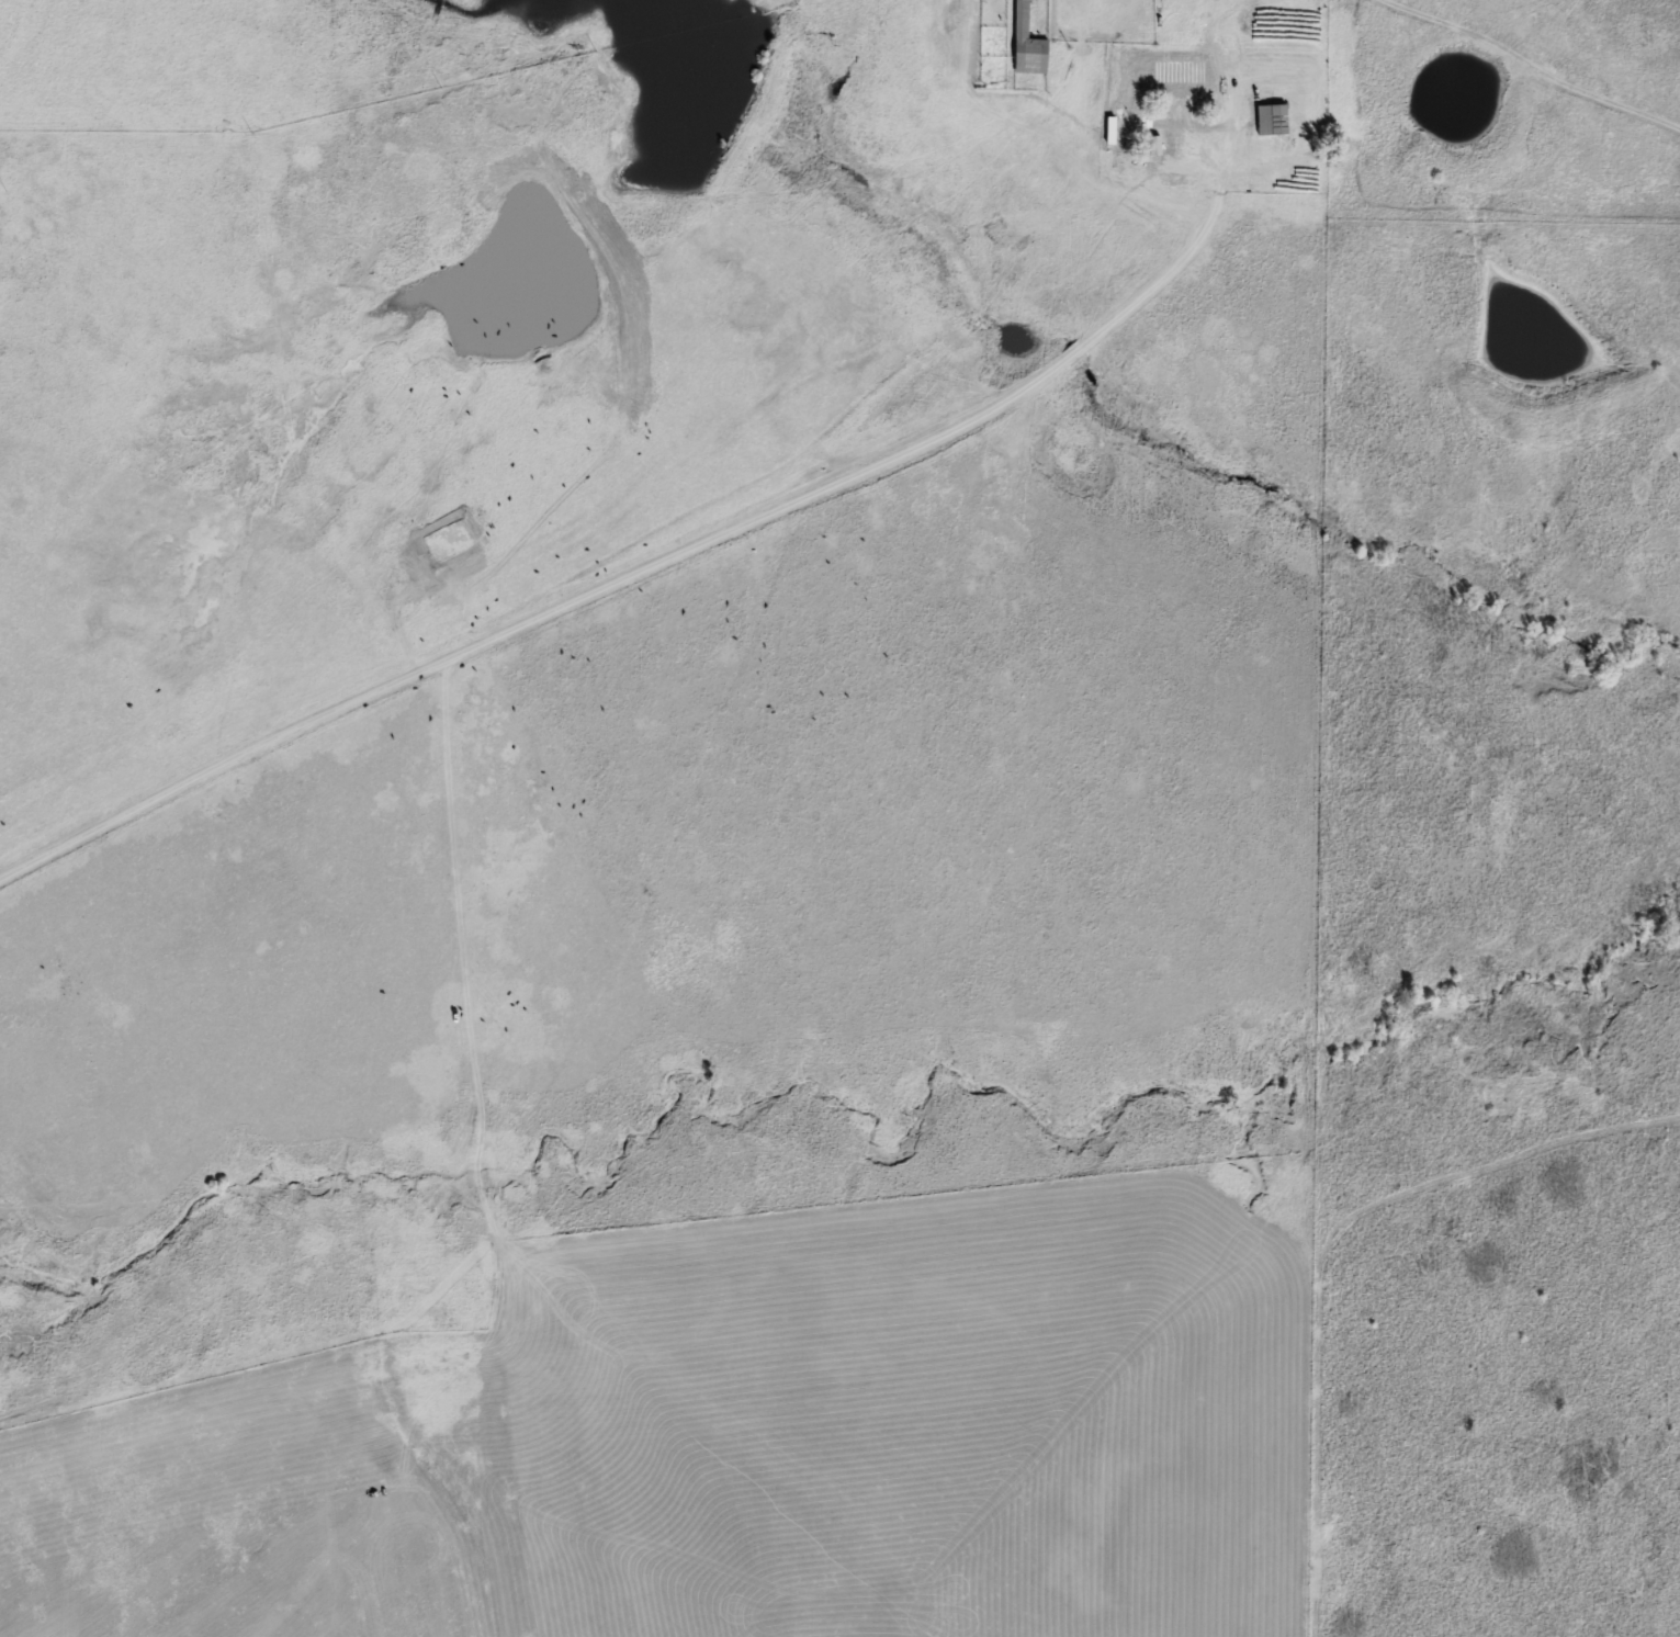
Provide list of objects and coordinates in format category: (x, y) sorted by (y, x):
building: (1024, 44)
building: (1270, 120)
building: (1174, 136)
road: (717, 517)

